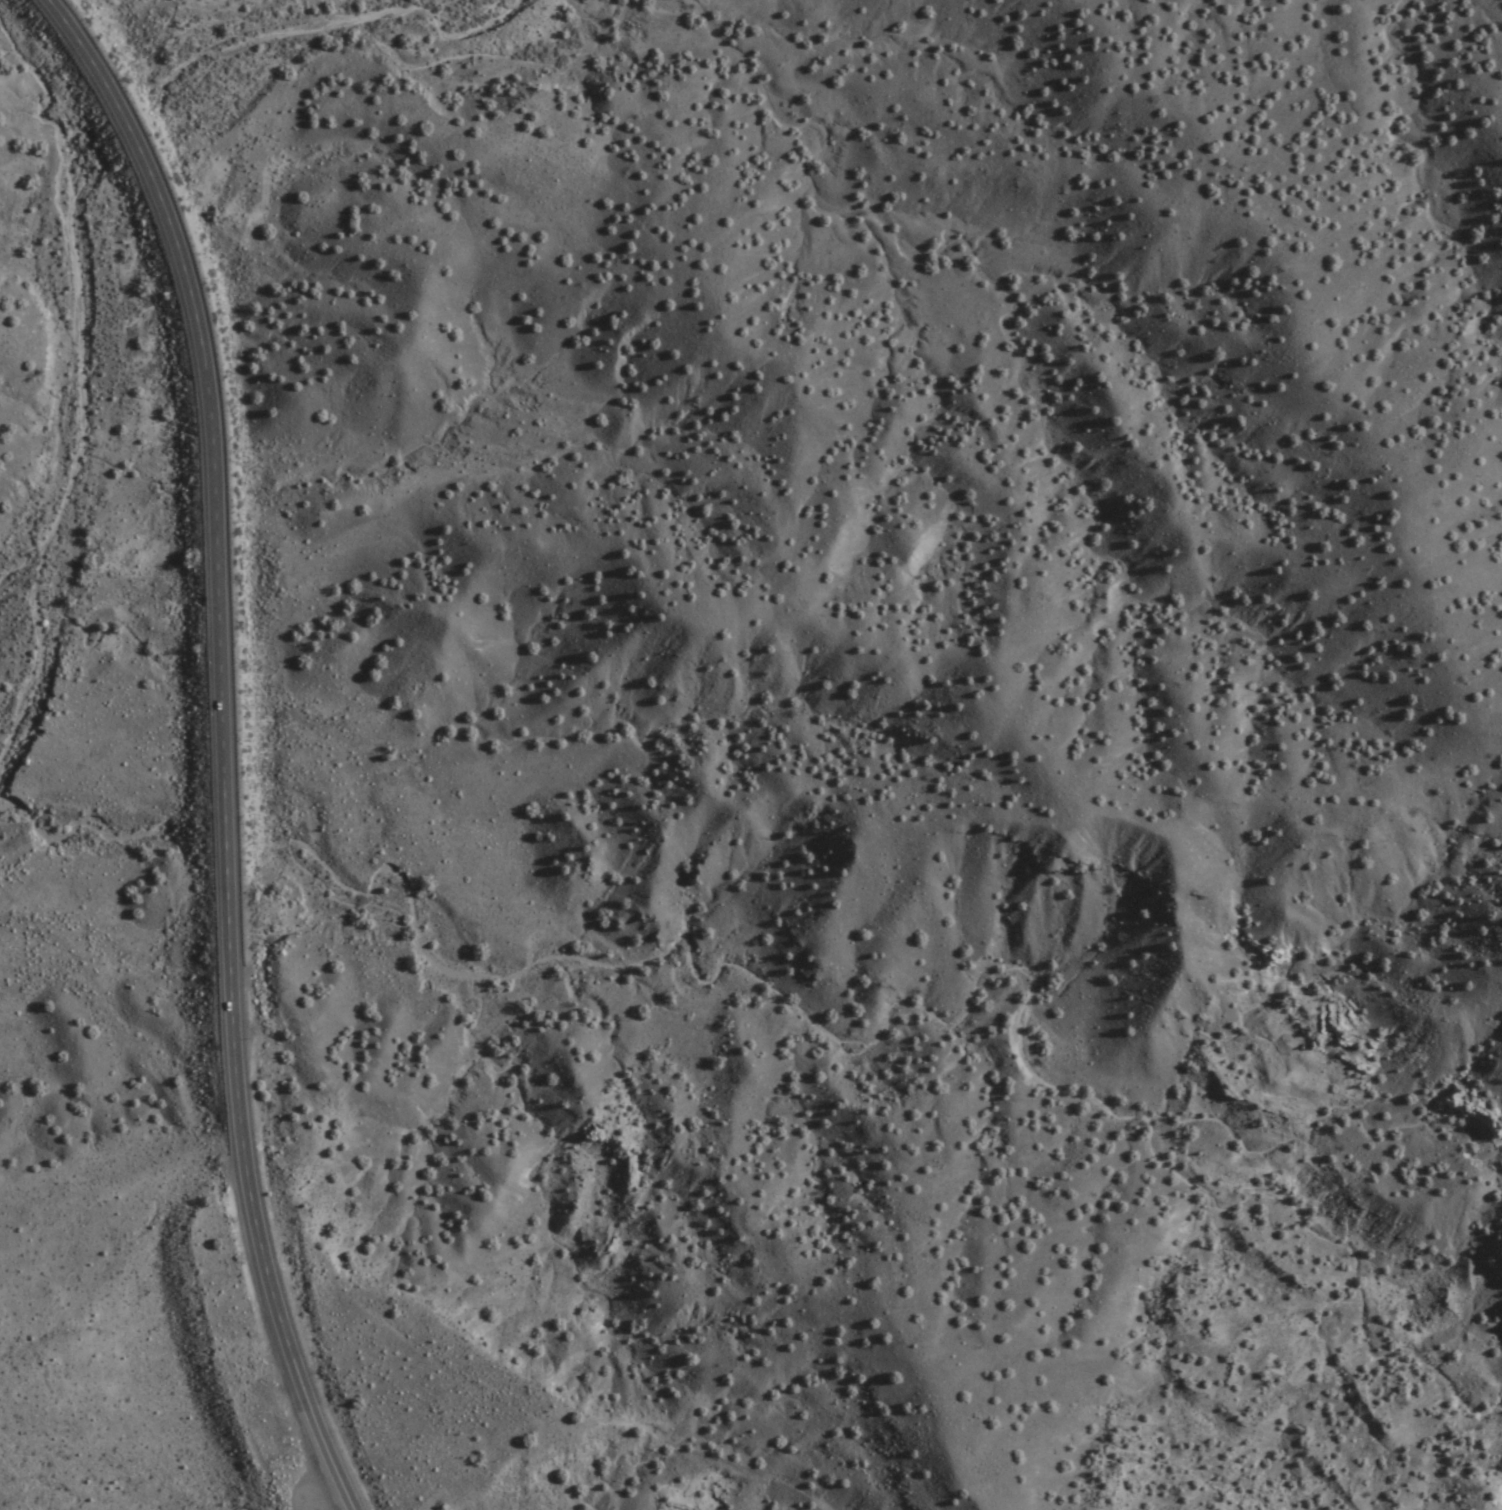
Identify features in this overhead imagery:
road: (224, 745)

